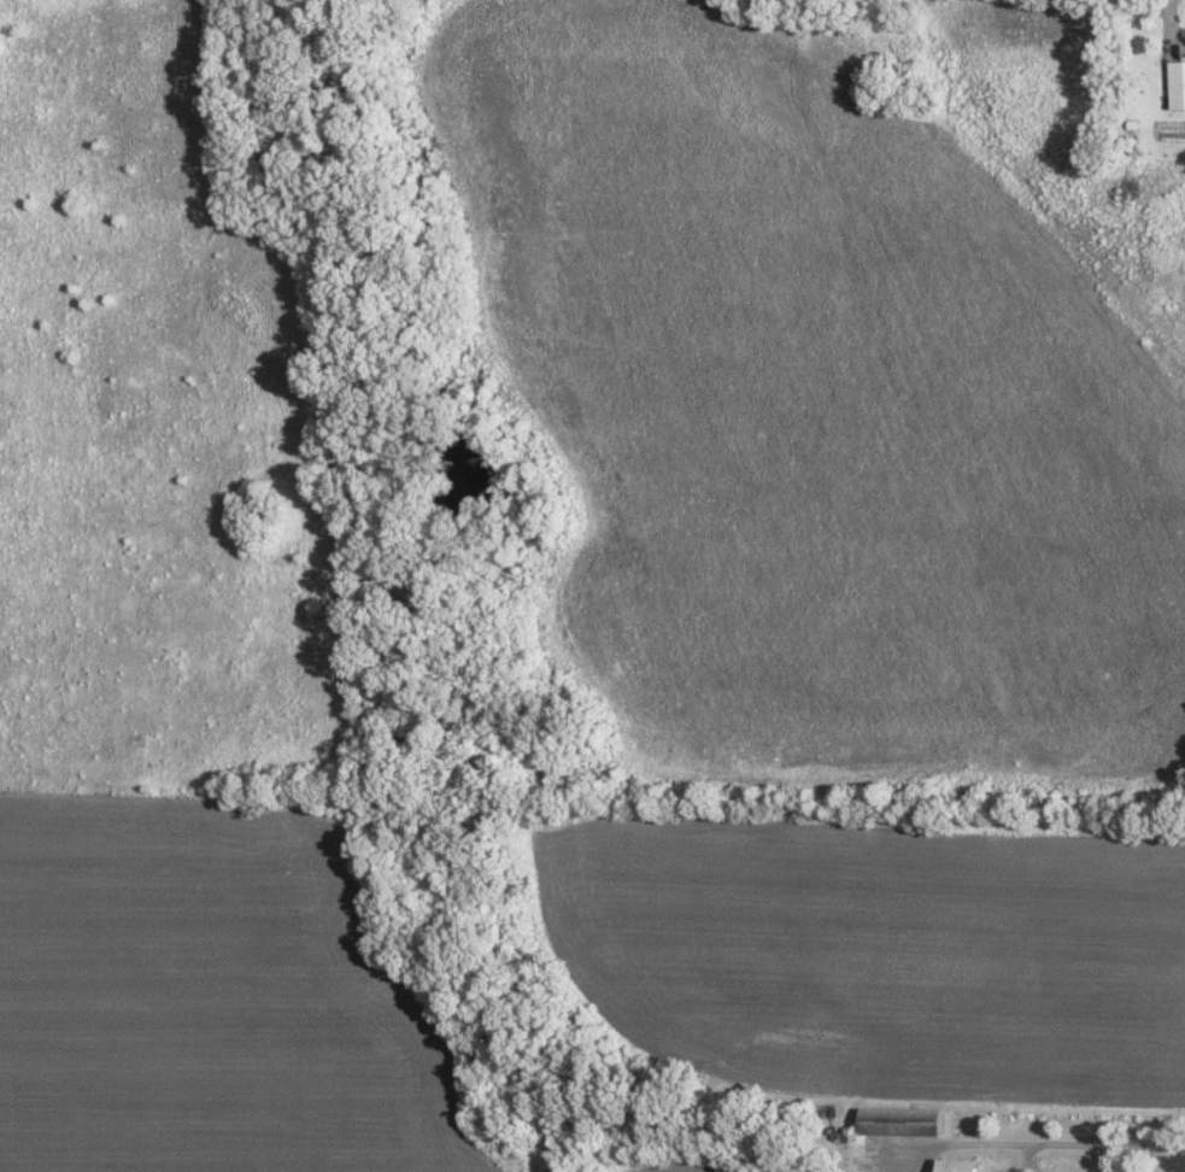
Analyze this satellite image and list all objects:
building: (1178, 86)
building: (907, 1123)
building: (962, 1166)

